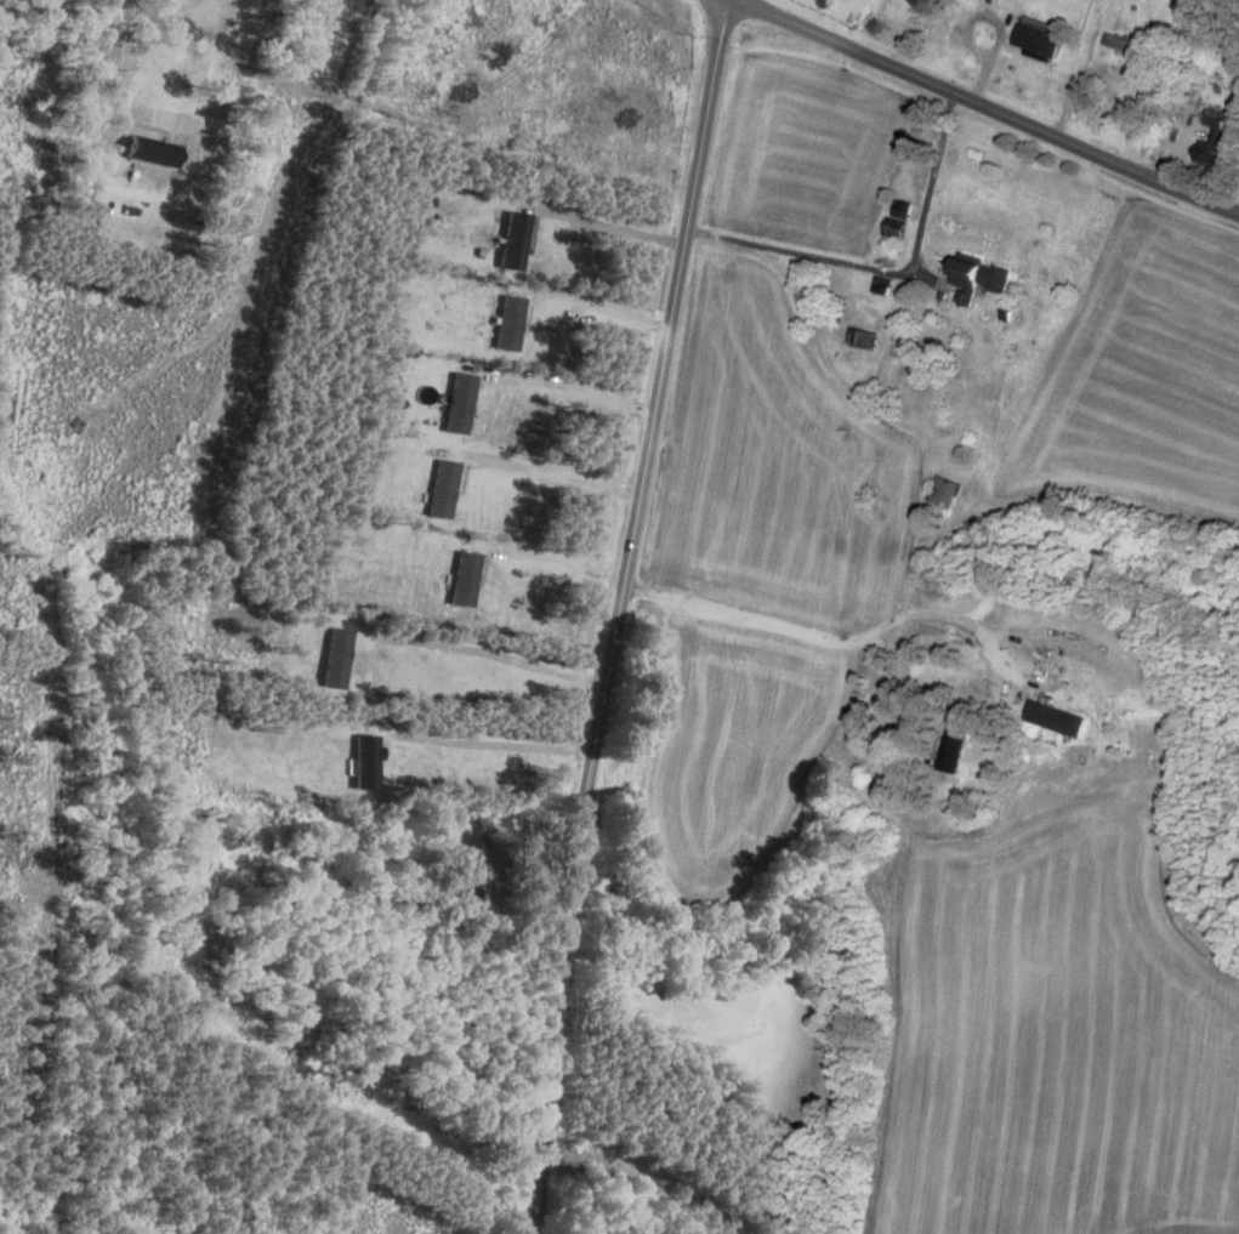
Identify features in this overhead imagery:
building: (1035, 41)
building: (1129, 45)
road: (112, 89)
road: (984, 102)
building: (1215, 142)
building: (898, 217)
road: (609, 224)
road: (892, 269)
building: (977, 277)
road: (602, 314)
building: (510, 320)
building: (862, 337)
road: (561, 383)
road: (552, 471)
building: (943, 491)
road: (557, 562)
road: (616, 614)
road: (825, 627)
road: (488, 647)
building: (877, 665)
road: (899, 681)
building: (1056, 717)
road: (513, 740)
building: (953, 749)
building: (470, 882)

